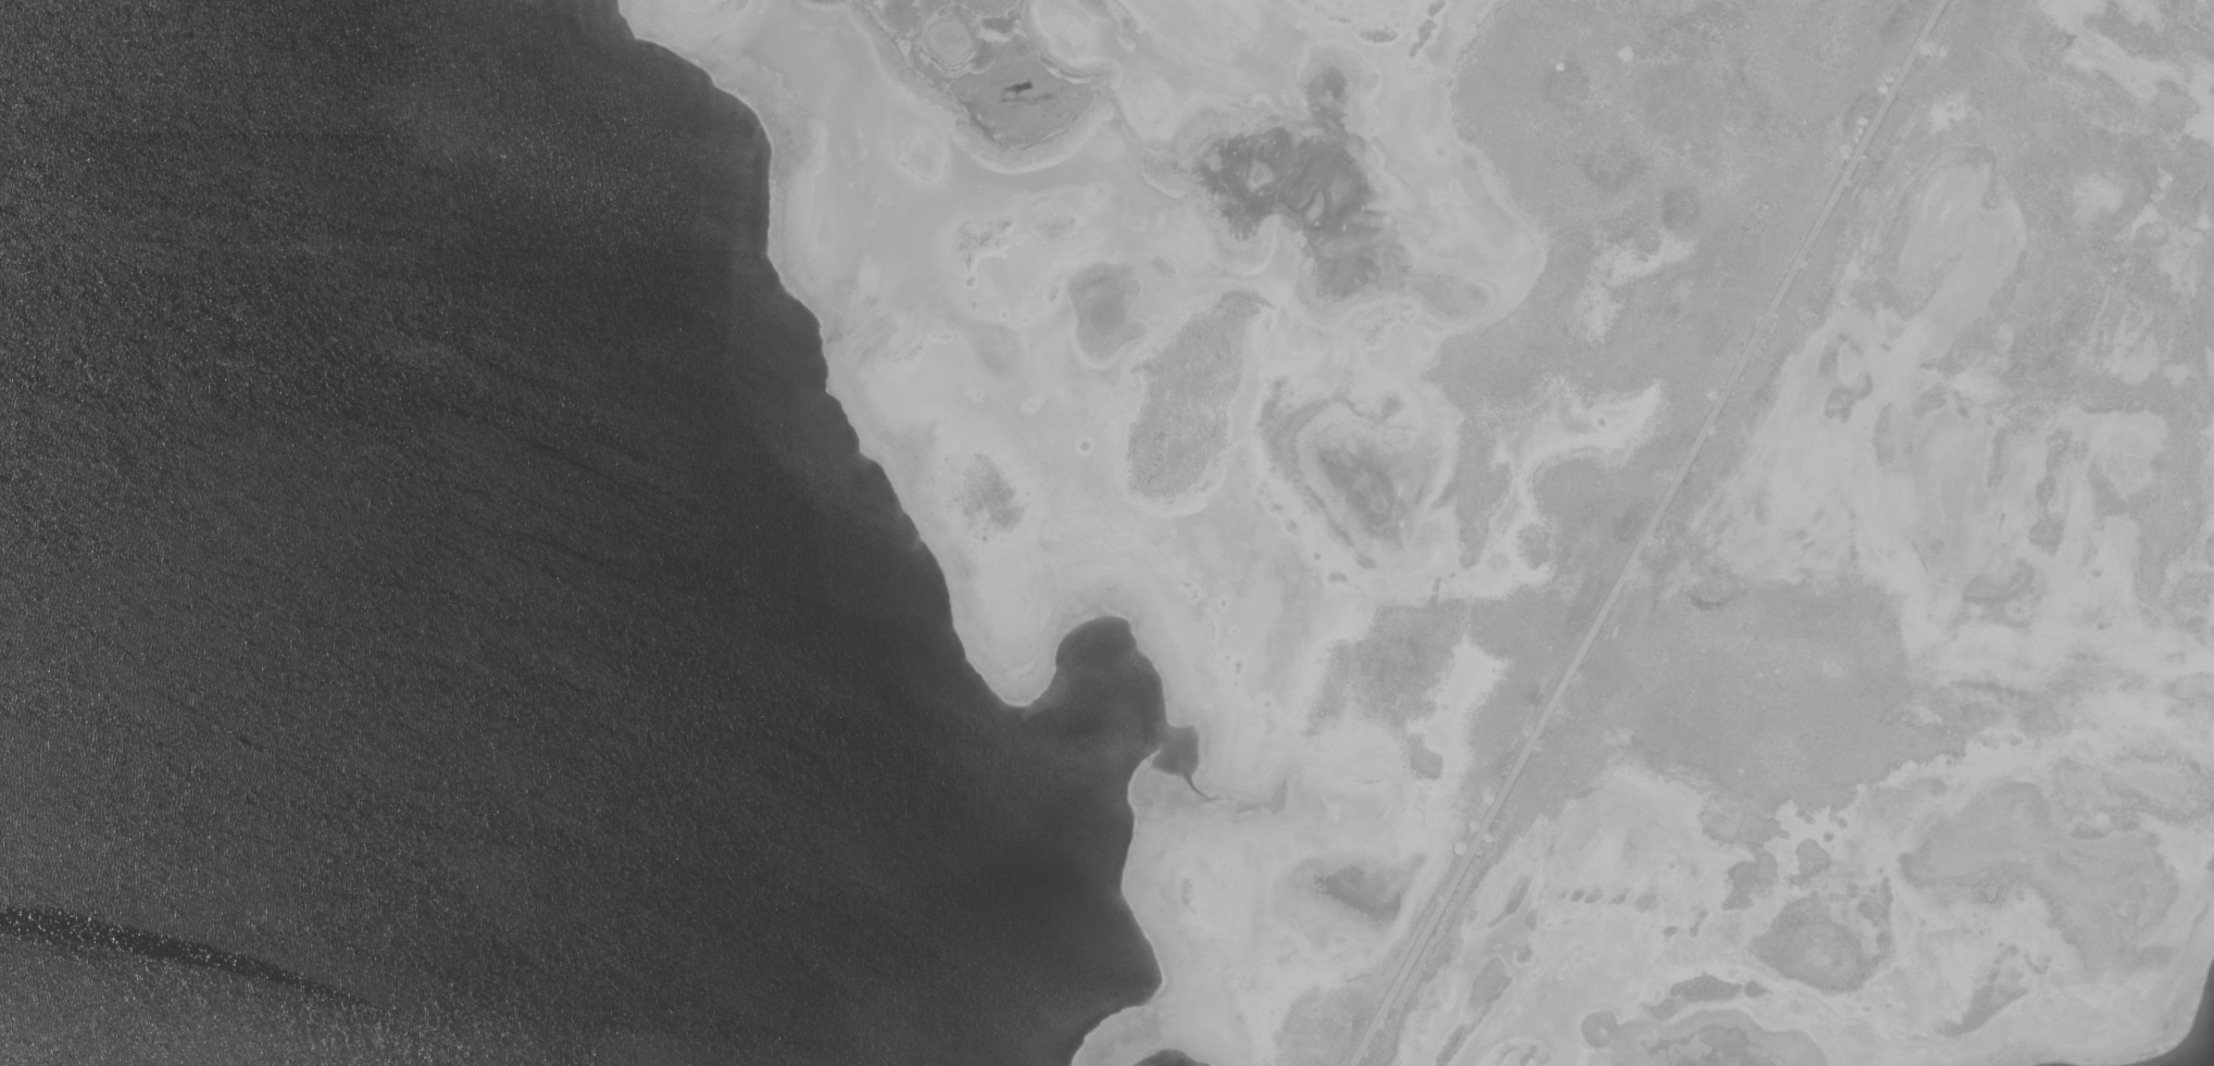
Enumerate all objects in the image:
power plant: (1106, 532)
road: (1646, 532)

